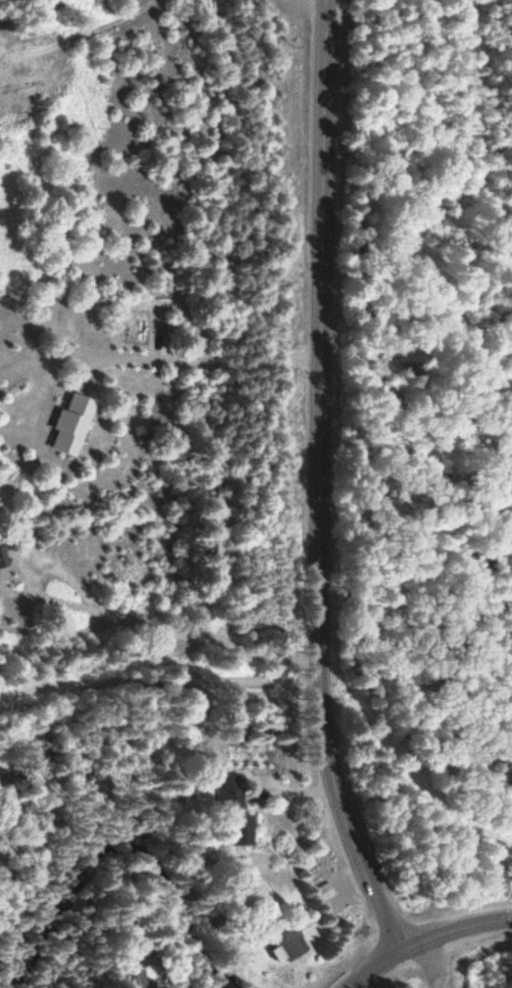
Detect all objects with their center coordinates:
road: (242, 362)
building: (75, 425)
road: (322, 483)
building: (5, 559)
building: (238, 809)
building: (327, 891)
road: (425, 942)
building: (292, 944)
road: (423, 969)
building: (140, 979)

